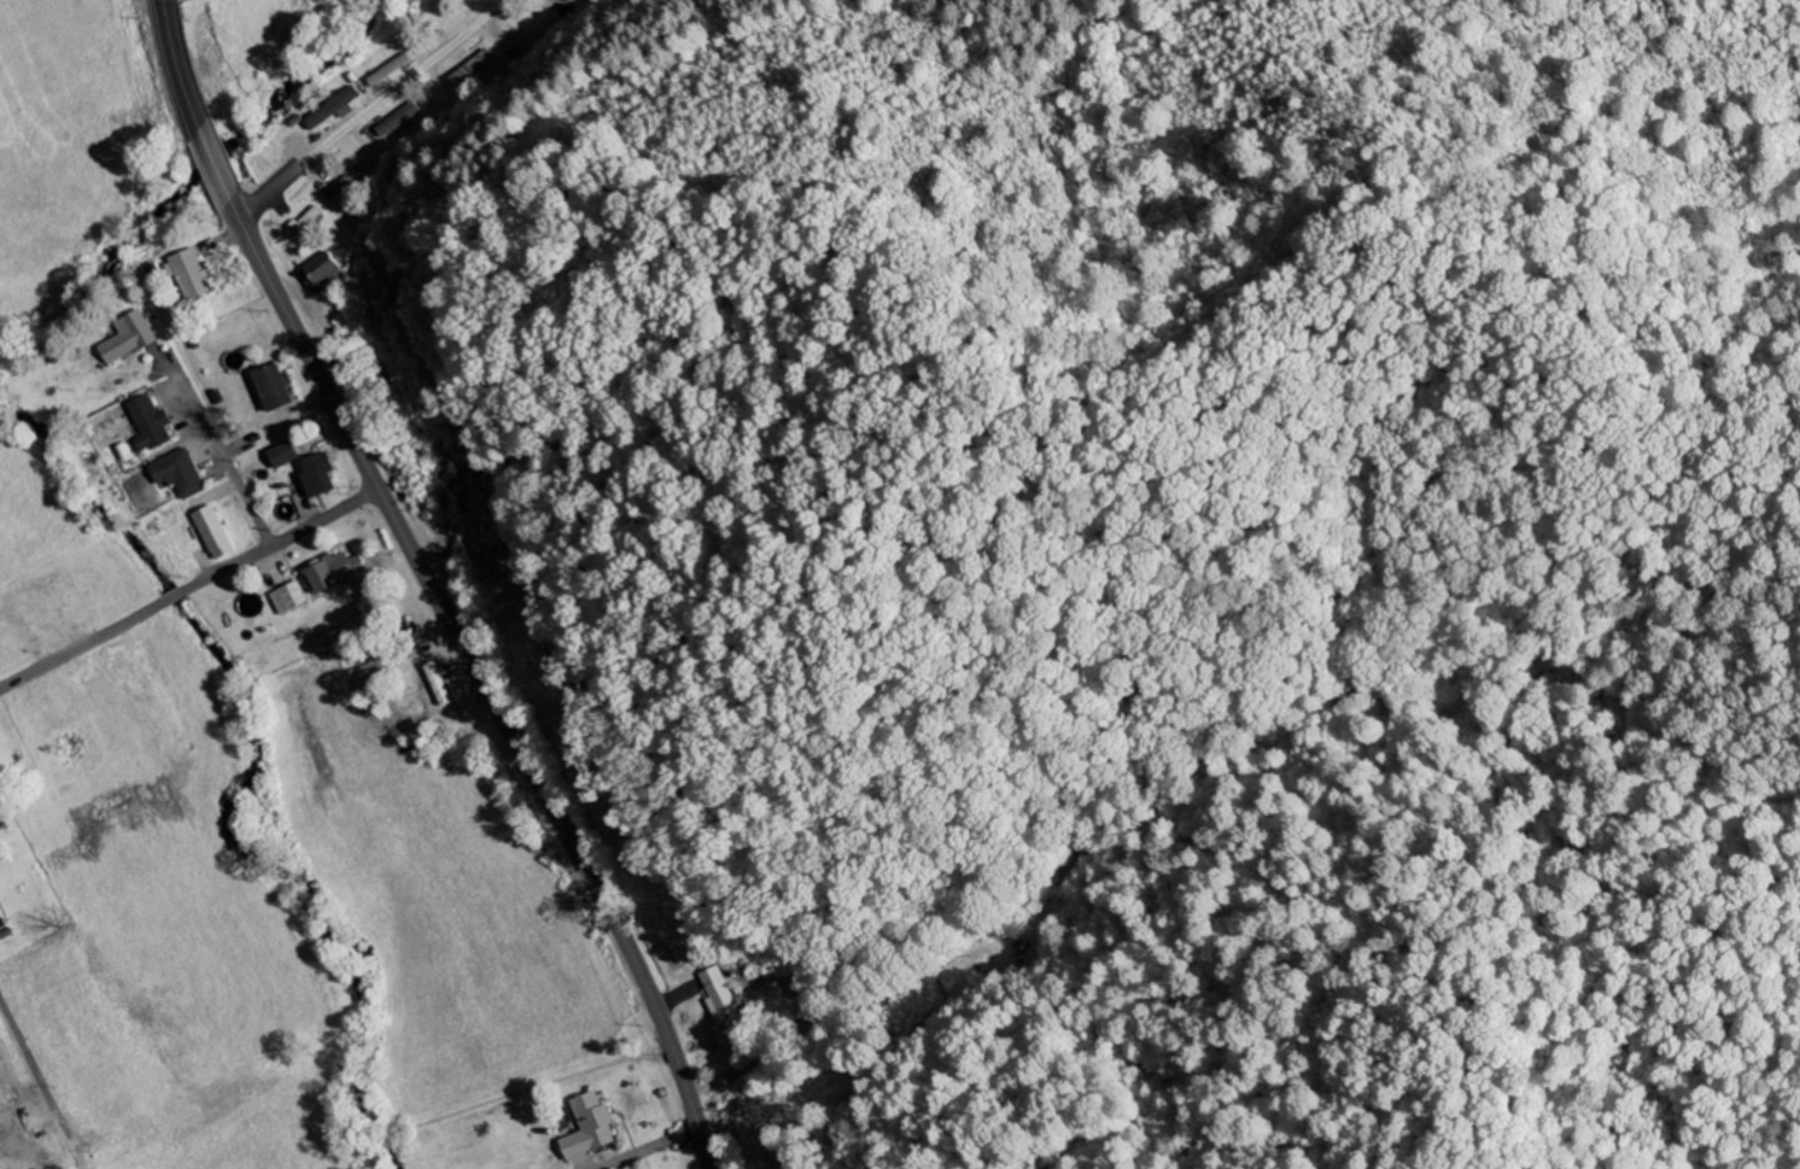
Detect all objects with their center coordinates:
building: (567, 1)
road: (176, 64)
building: (339, 109)
road: (369, 109)
building: (398, 121)
road: (214, 164)
river: (200, 176)
building: (322, 273)
building: (198, 275)
building: (133, 338)
building: (276, 388)
building: (152, 425)
road: (222, 450)
building: (285, 456)
building: (181, 474)
building: (321, 475)
building: (216, 533)
road: (280, 540)
building: (338, 572)
road: (173, 596)
building: (290, 600)
road: (82, 645)
road: (480, 680)
river: (250, 779)
building: (718, 998)
road: (42, 1082)
building: (585, 1127)

